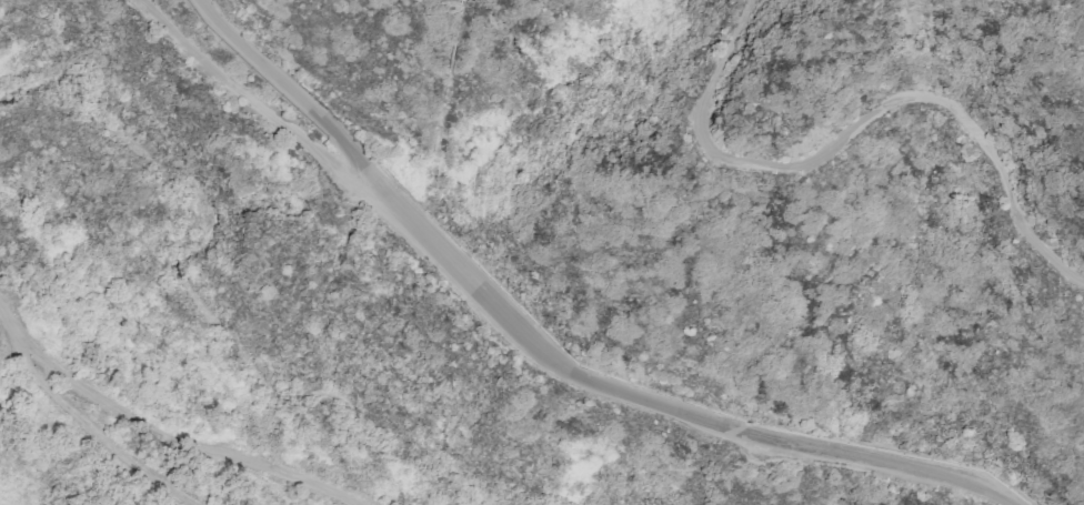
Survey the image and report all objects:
road: (526, 335)
road: (76, 417)
road: (179, 445)

